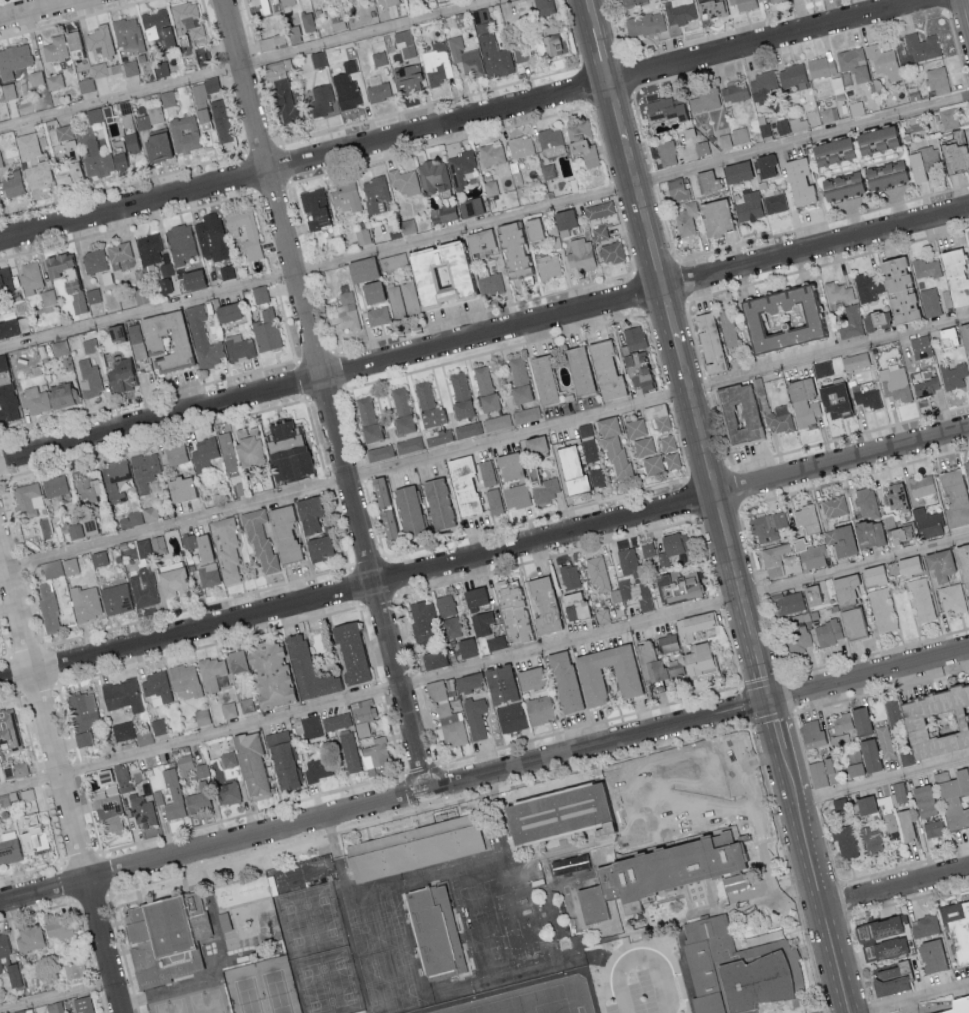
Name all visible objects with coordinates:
building: (287, 2)
building: (390, 2)
building: (745, 4)
building: (265, 5)
building: (543, 7)
road: (41, 10)
road: (590, 10)
road: (966, 11)
building: (679, 14)
building: (186, 20)
building: (306, 21)
building: (645, 23)
building: (156, 26)
building: (293, 34)
building: (126, 35)
building: (99, 41)
building: (550, 41)
building: (271, 42)
building: (405, 43)
building: (71, 44)
building: (491, 46)
building: (922, 46)
building: (54, 49)
road: (601, 51)
building: (522, 53)
building: (201, 55)
building: (466, 56)
building: (318, 58)
building: (378, 58)
building: (13, 59)
building: (883, 61)
building: (853, 62)
building: (437, 64)
road: (252, 65)
building: (820, 66)
building: (130, 67)
building: (114, 68)
building: (161, 68)
building: (97, 69)
building: (792, 76)
building: (35, 77)
building: (408, 77)
building: (936, 79)
building: (54, 81)
building: (345, 84)
building: (85, 85)
building: (762, 87)
building: (8, 90)
building: (378, 91)
building: (733, 91)
building: (281, 93)
building: (202, 97)
building: (167, 98)
building: (704, 98)
building: (322, 99)
building: (827, 109)
building: (663, 110)
road: (617, 111)
building: (94, 115)
building: (150, 116)
building: (948, 117)
building: (220, 120)
road: (461, 120)
building: (798, 124)
building: (781, 126)
building: (764, 129)
building: (184, 133)
building: (740, 135)
building: (549, 138)
building: (872, 139)
building: (724, 140)
building: (581, 141)
building: (130, 142)
building: (521, 146)
building: (155, 147)
building: (213, 149)
building: (829, 151)
building: (67, 152)
building: (955, 152)
building: (491, 153)
building: (666, 153)
building: (98, 156)
building: (33, 158)
building: (930, 158)
building: (0, 162)
building: (764, 165)
building: (915, 166)
building: (461, 168)
building: (547, 171)
building: (736, 171)
building: (883, 175)
building: (432, 176)
building: (60, 178)
building: (706, 181)
building: (798, 181)
building: (403, 182)
building: (12, 184)
road: (637, 186)
building: (839, 186)
building: (490, 187)
building: (677, 190)
building: (375, 193)
building: (345, 195)
building: (774, 203)
building: (470, 206)
building: (749, 206)
building: (314, 208)
building: (599, 209)
building: (448, 212)
building: (686, 218)
building: (714, 218)
building: (563, 221)
road: (484, 225)
building: (407, 226)
building: (530, 229)
building: (251, 231)
building: (599, 232)
building: (362, 236)
building: (210, 237)
building: (480, 241)
building: (179, 243)
building: (149, 248)
building: (511, 249)
building: (118, 252)
building: (610, 252)
building: (580, 254)
building: (94, 260)
road: (656, 261)
building: (55, 264)
building: (547, 266)
building: (925, 268)
building: (361, 269)
building: (226, 271)
building: (433, 273)
building: (30, 276)
building: (161, 276)
building: (5, 278)
building: (954, 278)
building: (197, 281)
building: (889, 289)
building: (371, 292)
building: (838, 292)
building: (260, 294)
building: (74, 295)
building: (93, 295)
building: (48, 297)
building: (395, 300)
building: (929, 301)
building: (343, 308)
building: (226, 312)
building: (377, 315)
road: (670, 316)
building: (780, 319)
building: (862, 321)
building: (9, 327)
building: (823, 327)
building: (727, 328)
building: (266, 331)
building: (115, 333)
building: (948, 336)
road: (484, 337)
building: (203, 338)
building: (965, 338)
building: (160, 340)
building: (634, 341)
building: (708, 342)
building: (89, 345)
building: (59, 347)
building: (240, 348)
building: (915, 348)
building: (854, 361)
building: (2, 362)
building: (822, 368)
building: (578, 370)
building: (636, 370)
building: (605, 372)
building: (121, 375)
building: (953, 375)
building: (3, 376)
building: (89, 378)
building: (542, 379)
building: (518, 380)
building: (894, 383)
building: (926, 386)
building: (485, 388)
road: (689, 391)
road: (325, 396)
building: (460, 396)
building: (48, 397)
building: (865, 397)
building: (833, 401)
building: (802, 402)
building: (8, 403)
building: (401, 411)
building: (655, 411)
building: (526, 414)
building: (737, 414)
building: (367, 418)
building: (780, 418)
building: (426, 422)
building: (497, 422)
building: (662, 423)
building: (635, 428)
building: (468, 429)
building: (588, 442)
building: (668, 443)
building: (613, 444)
road: (484, 445)
building: (644, 446)
building: (535, 448)
building: (239, 449)
building: (204, 451)
building: (380, 452)
building: (284, 453)
building: (175, 454)
building: (672, 460)
building: (653, 464)
building: (508, 466)
road: (709, 467)
building: (145, 470)
building: (571, 470)
building: (965, 472)
building: (486, 473)
building: (596, 477)
building: (117, 480)
building: (462, 485)
building: (55, 486)
building: (920, 486)
building: (544, 487)
building: (180, 488)
building: (87, 489)
building: (379, 492)
building: (516, 496)
building: (894, 497)
building: (953, 497)
building: (29, 499)
building: (494, 501)
building: (865, 502)
building: (437, 504)
building: (834, 506)
building: (407, 511)
building: (150, 513)
building: (307, 514)
building: (131, 519)
building: (806, 519)
road: (723, 521)
building: (927, 523)
building: (387, 524)
building: (767, 526)
building: (45, 527)
building: (82, 528)
building: (59, 532)
building: (903, 532)
building: (283, 534)
building: (867, 534)
building: (259, 539)
building: (840, 541)
building: (157, 544)
building: (197, 545)
building: (143, 547)
building: (671, 547)
building: (317, 548)
building: (227, 549)
building: (647, 549)
building: (191, 553)
building: (811, 555)
road: (484, 556)
building: (98, 558)
building: (774, 559)
building: (629, 563)
building: (791, 563)
building: (938, 564)
building: (70, 566)
building: (907, 566)
building: (963, 566)
building: (52, 568)
building: (597, 573)
building: (208, 574)
building: (569, 576)
building: (872, 576)
building: (173, 582)
building: (143, 587)
building: (677, 587)
building: (844, 589)
building: (622, 590)
road: (742, 592)
building: (812, 595)
building: (645, 597)
building: (474, 598)
building: (952, 598)
building: (115, 599)
building: (920, 599)
building: (85, 602)
building: (789, 602)
building: (446, 605)
building: (543, 606)
building: (573, 606)
building: (49, 607)
building: (882, 609)
building: (511, 613)
building: (602, 615)
building: (423, 622)
building: (481, 623)
building: (851, 623)
building: (692, 625)
building: (451, 627)
building: (827, 632)
building: (798, 638)
building: (494, 642)
building: (667, 643)
building: (466, 648)
building: (350, 653)
building: (434, 659)
building: (697, 660)
building: (236, 661)
building: (648, 663)
road: (484, 664)
building: (673, 666)
building: (307, 671)
road: (762, 671)
building: (211, 673)
building: (270, 675)
building: (529, 679)
building: (184, 681)
building: (590, 681)
building: (468, 682)
building: (564, 682)
building: (499, 684)
building: (156, 688)
building: (436, 690)
building: (123, 695)
traffic signals: (770, 704)
building: (540, 709)
building: (228, 710)
building: (82, 716)
building: (201, 717)
building: (362, 717)
building: (476, 717)
building: (511, 718)
building: (336, 721)
building: (933, 721)
building: (851, 722)
building: (451, 725)
building: (158, 726)
building: (311, 726)
road: (776, 726)
building: (8, 728)
building: (123, 730)
building: (811, 734)
building: (144, 737)
building: (839, 740)
building: (886, 746)
building: (220, 747)
building: (348, 751)
building: (375, 753)
building: (854, 756)
building: (869, 756)
building: (282, 761)
building: (183, 764)
building: (247, 764)
building: (20, 769)
building: (319, 769)
building: (201, 770)
building: (854, 770)
building: (230, 771)
road: (788, 772)
building: (820, 772)
road: (61, 775)
building: (941, 776)
road: (484, 778)
building: (0, 779)
building: (122, 779)
road: (882, 781)
building: (227, 793)
building: (894, 795)
building: (173, 796)
building: (954, 799)
building: (106, 801)
building: (196, 801)
building: (923, 801)
building: (4, 802)
building: (611, 802)
building: (864, 805)
building: (840, 807)
building: (141, 810)
building: (749, 812)
building: (889, 822)
building: (904, 826)
building: (933, 829)
building: (31, 833)
building: (871, 840)
building: (845, 842)
building: (8, 848)
road: (808, 850)
building: (415, 858)
building: (657, 878)
road: (896, 885)
building: (255, 888)
building: (253, 924)
building: (884, 924)
building: (924, 925)
building: (958, 925)
building: (56, 928)
building: (165, 936)
building: (30, 937)
park: (239, 941)
building: (436, 941)
building: (5, 944)
building: (882, 946)
building: (931, 955)
road: (837, 958)
building: (1, 968)
building: (74, 969)
building: (12, 974)
parking lot: (662, 974)
building: (731, 974)
building: (890, 978)
road: (662, 980)
park: (262, 989)
road: (910, 996)
road: (57, 997)
park: (193, 1003)
building: (82, 1004)
building: (957, 1004)
building: (54, 1007)
building: (938, 1007)
building: (18, 1011)
parking lot: (903, 1012)

